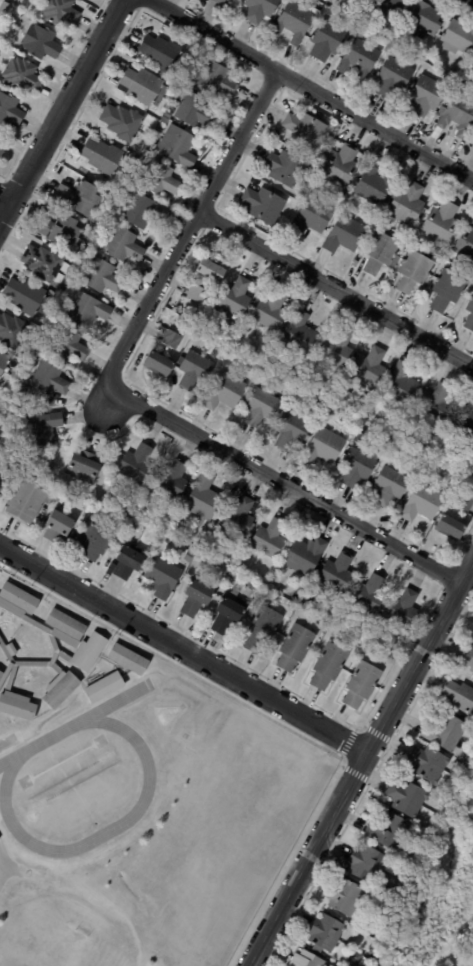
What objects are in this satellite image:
building: (219, 2)
building: (3, 9)
building: (259, 9)
building: (387, 9)
building: (15, 10)
building: (60, 12)
building: (357, 12)
building: (424, 19)
building: (293, 21)
building: (369, 24)
building: (457, 36)
building: (326, 39)
building: (40, 42)
building: (159, 51)
building: (360, 59)
building: (472, 61)
building: (22, 75)
building: (392, 76)
building: (215, 80)
building: (143, 86)
road: (312, 89)
building: (425, 95)
building: (10, 109)
building: (193, 110)
road: (62, 111)
building: (168, 114)
building: (457, 114)
building: (121, 121)
building: (304, 130)
building: (177, 146)
building: (2, 156)
building: (101, 156)
building: (131, 162)
building: (339, 165)
building: (283, 167)
building: (159, 178)
building: (374, 183)
building: (78, 198)
road: (5, 199)
building: (263, 204)
building: (406, 204)
building: (141, 210)
building: (312, 217)
building: (440, 222)
building: (60, 230)
building: (344, 235)
building: (465, 243)
building: (122, 245)
building: (381, 251)
building: (43, 262)
building: (210, 268)
building: (413, 272)
building: (102, 276)
road: (336, 288)
building: (447, 292)
building: (196, 293)
building: (23, 295)
building: (234, 297)
building: (86, 310)
building: (269, 313)
building: (469, 316)
building: (11, 331)
building: (298, 334)
building: (171, 339)
building: (67, 344)
building: (336, 348)
building: (255, 351)
building: (213, 354)
building: (3, 360)
building: (157, 363)
building: (369, 366)
building: (194, 369)
building: (0, 379)
building: (48, 379)
building: (401, 385)
building: (223, 391)
road: (130, 398)
building: (436, 404)
building: (260, 407)
building: (463, 423)
building: (41, 428)
building: (291, 430)
building: (388, 436)
building: (419, 441)
building: (323, 447)
building: (4, 461)
building: (136, 463)
building: (358, 466)
building: (82, 468)
building: (170, 480)
building: (121, 485)
building: (0, 486)
building: (390, 486)
building: (202, 499)
building: (107, 500)
building: (25, 502)
building: (422, 503)
building: (463, 503)
building: (237, 517)
building: (57, 525)
building: (449, 528)
building: (181, 530)
building: (95, 539)
building: (268, 539)
building: (304, 556)
building: (126, 561)
building: (237, 565)
building: (232, 574)
building: (335, 574)
building: (162, 576)
building: (271, 586)
building: (280, 591)
building: (17, 595)
building: (367, 595)
building: (196, 597)
building: (315, 608)
building: (402, 609)
building: (225, 615)
building: (338, 615)
building: (64, 622)
building: (262, 630)
road: (183, 648)
building: (294, 648)
building: (87, 651)
building: (127, 657)
building: (467, 657)
building: (328, 666)
building: (1, 672)
building: (361, 685)
building: (103, 686)
building: (60, 688)
building: (459, 694)
building: (16, 705)
building: (445, 731)
road: (361, 762)
building: (427, 763)
track: (8, 767)
building: (406, 797)
building: (387, 831)
building: (420, 842)
building: (364, 862)
road: (3, 874)
building: (344, 896)
building: (324, 933)
park: (58, 946)
building: (305, 959)
building: (329, 965)
building: (351, 965)

